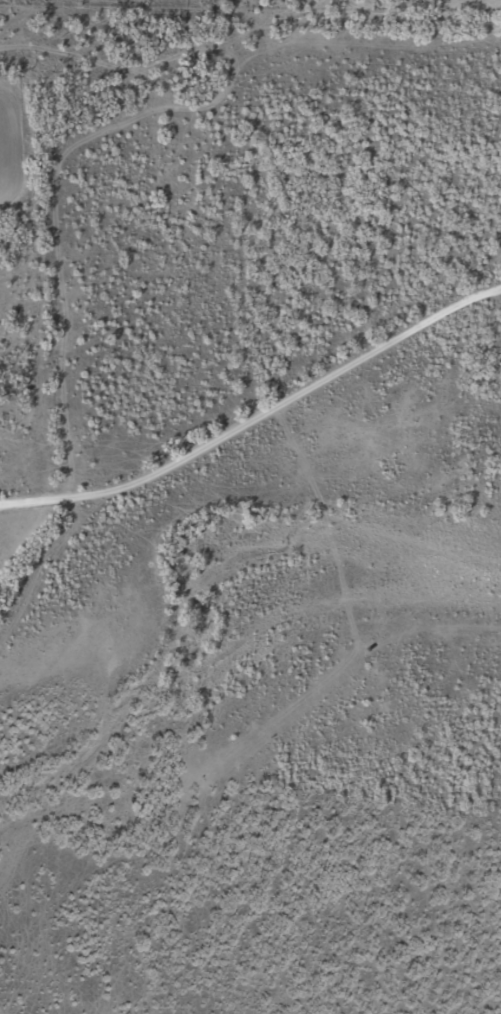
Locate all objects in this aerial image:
road: (302, 43)
road: (255, 413)

